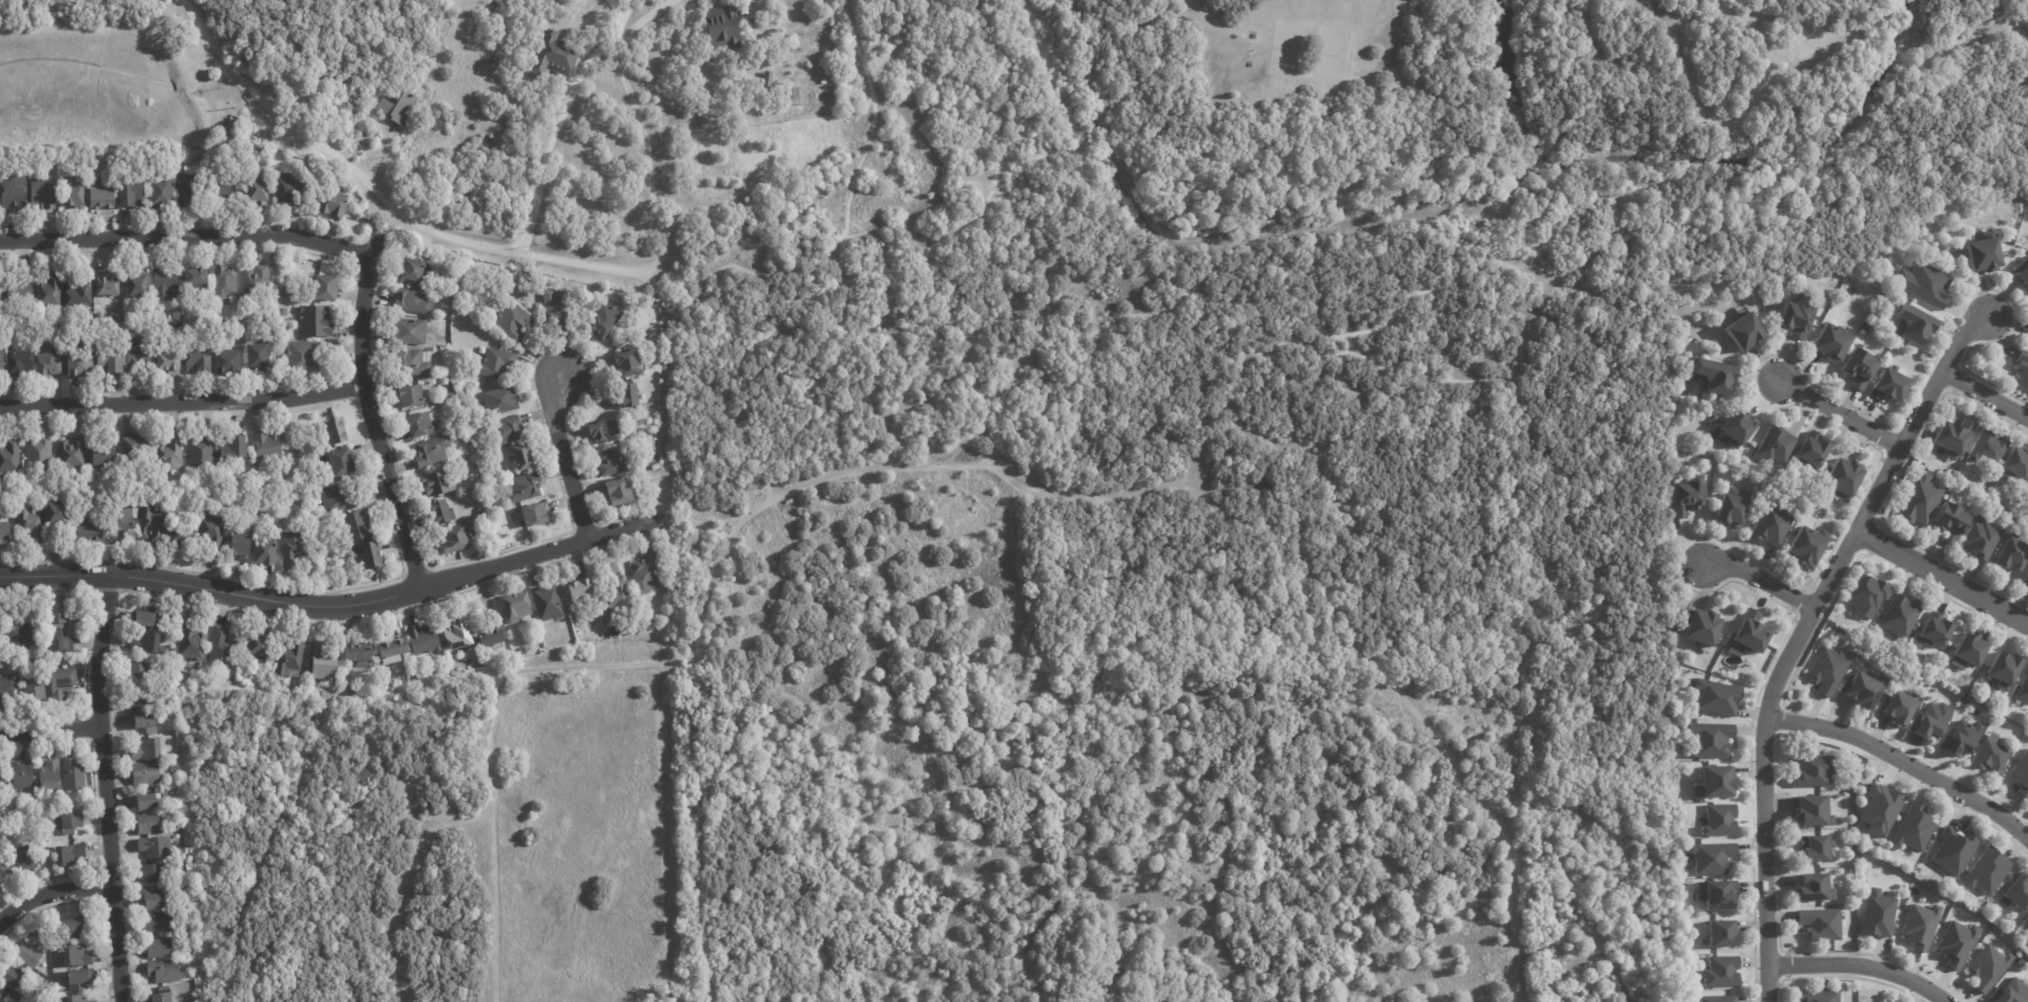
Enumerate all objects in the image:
road: (615, 11)
road: (624, 12)
road: (645, 18)
building: (724, 28)
road: (617, 30)
road: (105, 44)
road: (292, 49)
park: (1311, 52)
building: (554, 56)
building: (740, 77)
park: (107, 78)
building: (767, 85)
building: (794, 96)
building: (398, 104)
road: (1740, 111)
building: (244, 143)
road: (645, 157)
road: (544, 167)
road: (1058, 173)
building: (187, 185)
building: (225, 187)
building: (258, 190)
building: (291, 190)
building: (161, 191)
building: (13, 194)
building: (74, 194)
building: (101, 194)
building: (130, 194)
building: (42, 195)
road: (380, 198)
building: (333, 203)
building: (1928, 224)
road: (388, 227)
road: (1024, 233)
road: (187, 236)
road: (940, 240)
road: (1379, 250)
road: (880, 252)
building: (1982, 253)
building: (1876, 257)
road: (839, 268)
building: (413, 270)
building: (2023, 275)
building: (255, 279)
building: (196, 280)
building: (137, 284)
building: (165, 284)
building: (224, 284)
building: (1922, 284)
building: (19, 286)
building: (107, 286)
building: (325, 288)
building: (49, 292)
building: (287, 292)
building: (79, 294)
building: (448, 294)
road: (705, 300)
building: (412, 301)
building: (447, 302)
building: (555, 303)
building: (282, 312)
building: (1792, 315)
building: (604, 321)
building: (314, 322)
building: (513, 322)
building: (1912, 324)
building: (409, 331)
building: (1743, 331)
building: (651, 335)
building: (1830, 344)
building: (137, 354)
building: (301, 356)
building: (49, 357)
building: (258, 357)
building: (198, 360)
building: (108, 362)
building: (227, 362)
building: (493, 362)
building: (1, 363)
building: (20, 363)
building: (169, 363)
building: (409, 363)
building: (79, 364)
building: (627, 364)
building: (1857, 368)
building: (2018, 368)
building: (1712, 377)
building: (1888, 386)
building: (447, 393)
building: (629, 395)
building: (412, 396)
building: (1672, 397)
road: (1986, 399)
road: (182, 401)
building: (500, 401)
road: (370, 412)
road: (1839, 416)
building: (420, 425)
building: (1735, 429)
building: (598, 430)
building: (337, 431)
building: (507, 431)
building: (1952, 438)
building: (467, 440)
road: (964, 444)
building: (1770, 444)
building: (267, 445)
building: (234, 447)
building: (131, 448)
building: (1805, 449)
building: (1986, 449)
building: (432, 451)
building: (200, 452)
building: (294, 452)
building: (70, 453)
building: (171, 453)
building: (38, 455)
building: (9, 457)
building: (104, 457)
building: (523, 458)
road: (564, 458)
building: (614, 461)
building: (342, 462)
building: (2015, 465)
building: (655, 467)
building: (1841, 477)
building: (485, 481)
building: (438, 483)
building: (524, 488)
road: (769, 489)
building: (145, 492)
building: (619, 492)
road: (773, 493)
building: (2027, 493)
building: (1686, 495)
building: (339, 497)
building: (1916, 499)
road: (772, 505)
building: (1726, 509)
building: (481, 510)
building: (442, 513)
building: (56, 514)
building: (536, 514)
road: (692, 520)
building: (1945, 520)
building: (120, 522)
building: (1766, 523)
building: (29, 525)
building: (151, 525)
building: (355, 526)
building: (89, 530)
park: (1155, 530)
building: (211, 531)
building: (2, 533)
building: (179, 536)
road: (1286, 536)
building: (456, 538)
building: (1979, 540)
building: (1801, 542)
building: (240, 546)
building: (493, 546)
building: (292, 548)
building: (265, 552)
building: (2010, 554)
building: (369, 556)
building: (329, 557)
building: (322, 561)
building: (641, 572)
building: (2025, 577)
road: (1942, 579)
road: (1757, 583)
building: (580, 587)
building: (616, 599)
building: (1878, 599)
building: (547, 601)
building: (516, 605)
road: (330, 606)
building: (572, 606)
building: (61, 613)
building: (1899, 615)
building: (146, 617)
building: (1849, 620)
building: (1700, 626)
building: (1933, 630)
building: (17, 631)
building: (1750, 631)
building: (457, 634)
building: (491, 636)
road: (1800, 636)
building: (423, 639)
building: (144, 641)
building: (191, 641)
building: (60, 642)
building: (259, 643)
building: (220, 646)
building: (1969, 648)
building: (162, 649)
building: (391, 649)
road: (1523, 652)
building: (357, 653)
building: (407, 655)
building: (289, 657)
building: (323, 661)
building: (2002, 668)
building: (1678, 669)
building: (1826, 671)
building: (140, 672)
building: (272, 679)
building: (57, 682)
road: (503, 685)
building: (8, 688)
building: (1856, 688)
building: (2023, 690)
building: (34, 691)
building: (1712, 696)
building: (139, 698)
building: (1892, 706)
building: (1926, 719)
building: (142, 721)
road: (53, 728)
building: (1956, 735)
building: (1709, 738)
road: (977, 742)
building: (146, 748)
building: (1984, 755)
road: (1903, 765)
building: (174, 769)
building: (1811, 769)
building: (2018, 772)
building: (22, 773)
building: (50, 773)
building: (144, 773)
building: (72, 774)
building: (2, 780)
building: (1714, 781)
road: (108, 792)
building: (146, 800)
building: (1879, 809)
building: (1811, 810)
building: (1719, 820)
building: (70, 822)
building: (148, 823)
building: (179, 827)
road: (667, 828)
building: (1913, 828)
building: (155, 846)
building: (1813, 847)
building: (1953, 850)
building: (69, 854)
building: (1711, 857)
building: (1858, 858)
building: (24, 859)
building: (5, 870)
building: (1986, 871)
building: (151, 873)
building: (1812, 888)
building: (2017, 892)
road: (50, 893)
building: (1719, 894)
road: (492, 898)
building: (154, 900)
building: (1876, 914)
building: (43, 919)
building: (159, 922)
building: (1819, 923)
building: (2026, 923)
building: (1919, 925)
building: (73, 926)
building: (1720, 933)
building: (1956, 943)
building: (158, 948)
building: (28, 952)
building: (76, 955)
road: (1856, 967)
building: (1986, 967)
building: (163, 970)
building: (1721, 971)
building: (10, 975)
building: (77, 979)
building: (2, 989)
building: (2010, 991)
building: (1818, 996)
building: (161, 997)
building: (76, 998)
building: (1719, 999)

